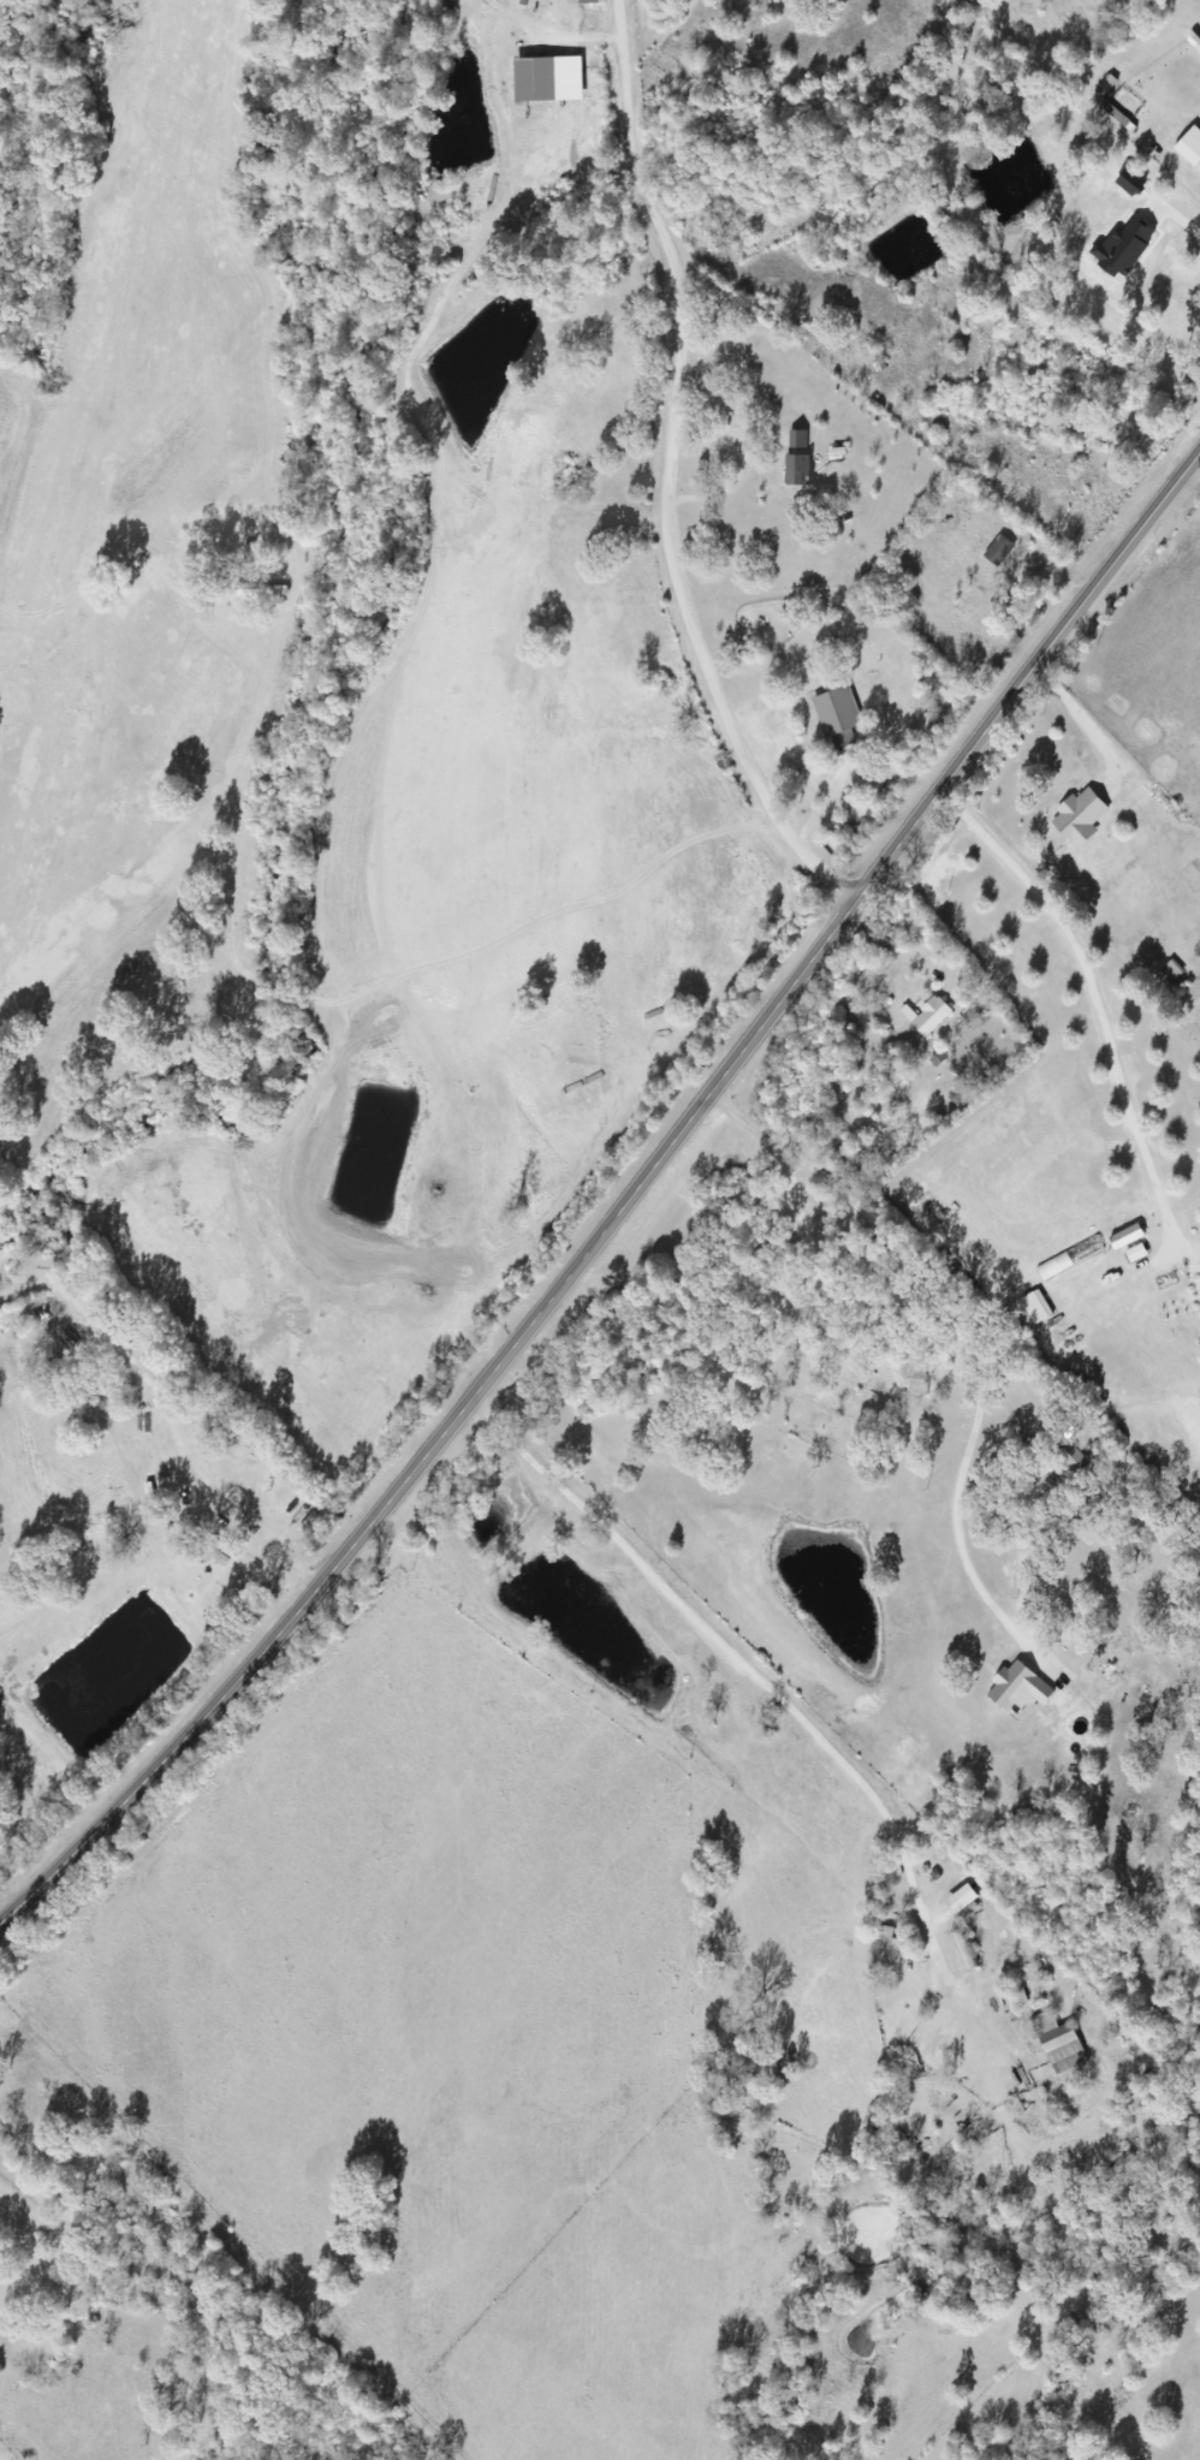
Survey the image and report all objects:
building: (587, 2)
building: (1189, 148)
building: (1129, 184)
building: (1124, 249)
road: (664, 485)
building: (998, 552)
building: (946, 693)
building: (838, 719)
building: (1079, 819)
building: (927, 1017)
road: (623, 1212)
building: (1127, 1238)
building: (1136, 1255)
building: (1070, 1259)
building: (1194, 1276)
road: (925, 1410)
building: (1017, 1689)
road: (771, 1704)
building: (961, 1900)
building: (885, 1953)
building: (1058, 2042)

